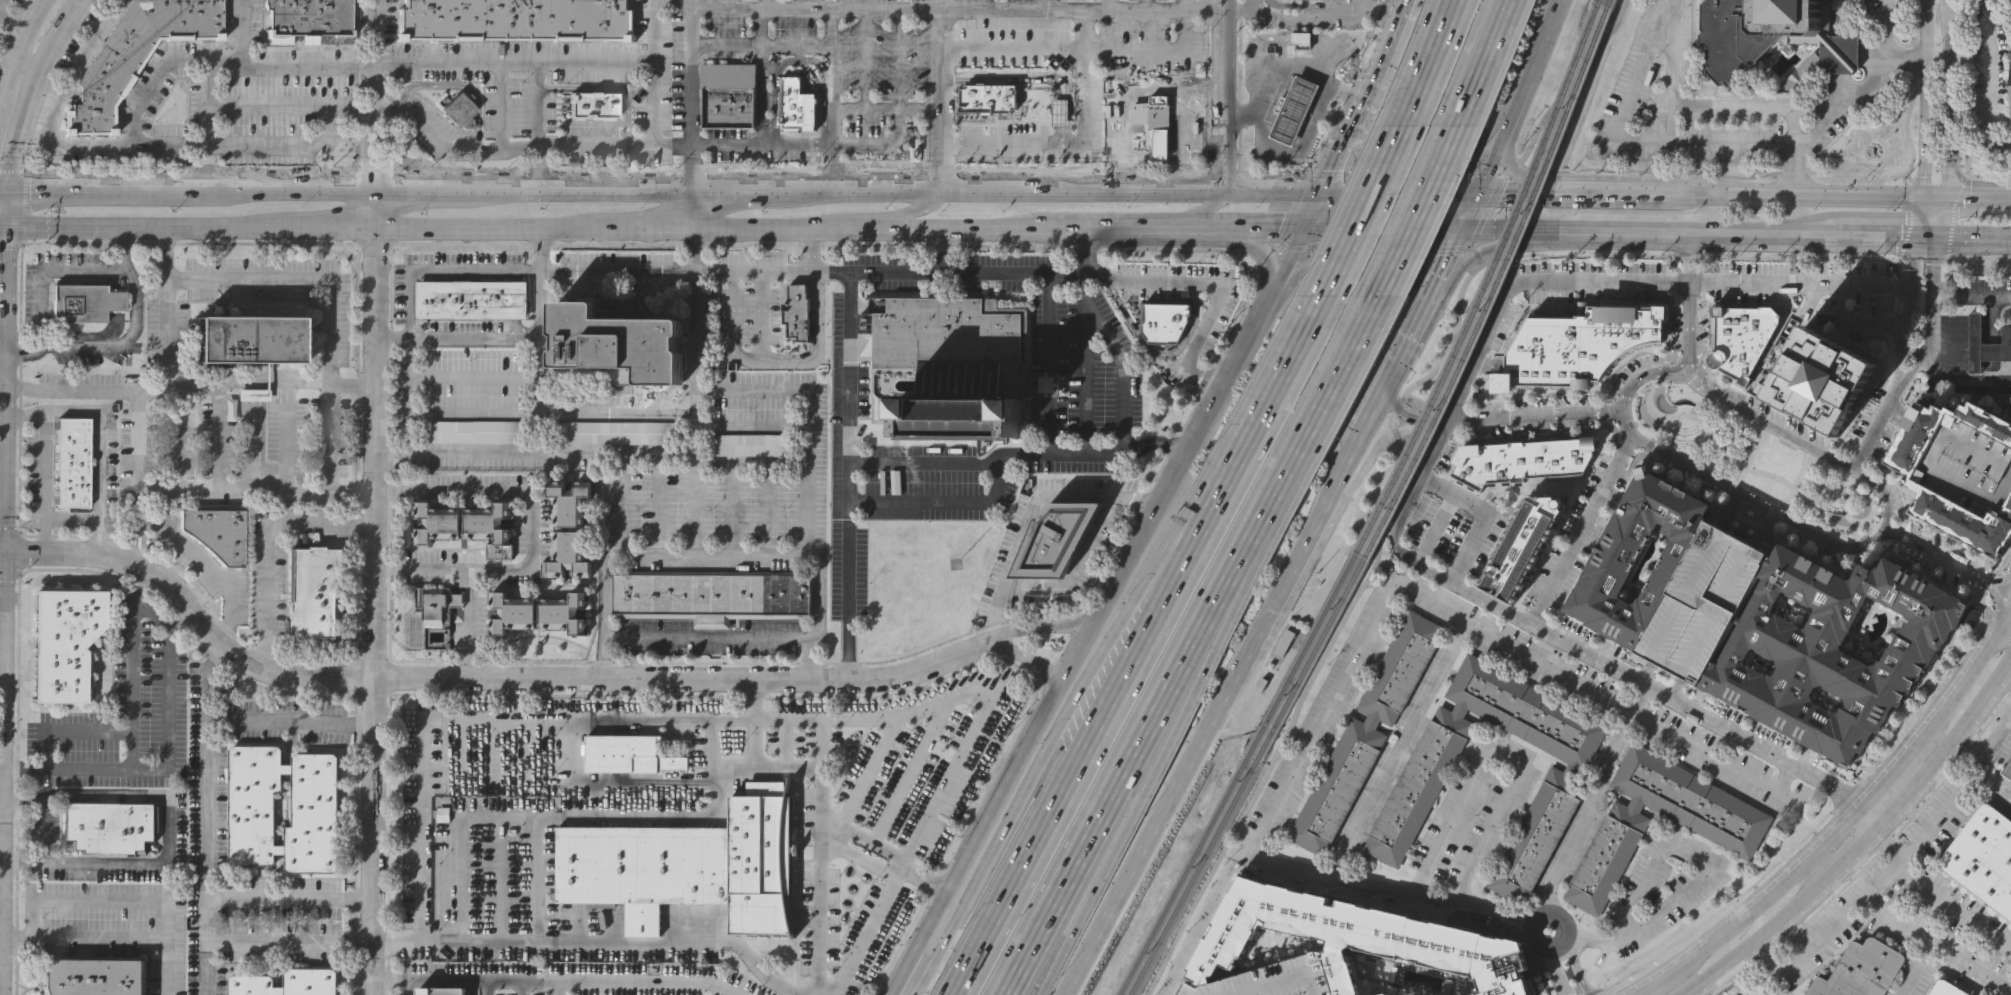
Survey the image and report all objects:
road: (1, 3)
building: (1300, 3)
road: (730, 4)
road: (767, 4)
road: (1255, 4)
road: (1114, 5)
road: (1149, 5)
road: (1451, 7)
road: (1452, 7)
road: (934, 10)
road: (1399, 15)
road: (1308, 17)
building: (304, 19)
building: (516, 19)
building: (1786, 21)
road: (13, 25)
building: (1302, 37)
building: (1728, 39)
road: (1887, 42)
road: (19, 45)
road: (1454, 45)
road: (1011, 46)
road: (763, 47)
road: (1464, 47)
road: (1436, 50)
building: (136, 52)
road: (1484, 52)
building: (1825, 55)
road: (1163, 58)
road: (865, 60)
road: (898, 61)
road: (1277, 61)
road: (445, 65)
road: (1375, 69)
road: (651, 73)
road: (760, 77)
road: (208, 78)
road: (1025, 78)
road: (1988, 80)
road: (153, 87)
road: (1966, 87)
road: (460, 88)
road: (1153, 89)
road: (31, 90)
road: (1201, 91)
road: (1916, 92)
road: (375, 95)
road: (1217, 95)
building: (986, 98)
road: (1922, 99)
road: (833, 100)
road: (1949, 100)
road: (939, 101)
road: (1845, 103)
building: (592, 104)
building: (728, 104)
road: (269, 105)
road: (1727, 105)
road: (368, 106)
building: (796, 107)
building: (459, 109)
road: (540, 109)
building: (1153, 109)
building: (1294, 109)
gas station: (1294, 109)
road: (502, 110)
road: (885, 112)
building: (1049, 115)
building: (607, 116)
road: (1084, 126)
road: (1629, 139)
road: (438, 141)
road: (958, 141)
road: (693, 144)
road: (879, 145)
building: (1158, 145)
road: (616, 146)
road: (129, 149)
road: (1340, 149)
road: (509, 155)
road: (1295, 155)
road: (1423, 163)
road: (1513, 168)
road: (540, 173)
road: (1989, 175)
road: (1731, 176)
road: (1477, 185)
road: (693, 187)
road: (1960, 188)
road: (4, 189)
traffic signals: (32, 189)
road: (96, 189)
road: (278, 189)
road: (415, 190)
traffic signals: (1322, 190)
road: (1398, 190)
road: (576, 191)
road: (1129, 191)
traffic signals: (1475, 191)
road: (739, 192)
road: (1513, 192)
road: (808, 193)
road: (885, 193)
road: (1619, 193)
road: (1804, 198)
traffic signals: (1922, 200)
road: (1933, 200)
traffic signals: (1945, 201)
road: (1978, 201)
road: (1398, 202)
road: (1370, 203)
road: (9, 208)
road: (1202, 208)
road: (1313, 209)
road: (1384, 210)
road: (1415, 210)
road: (876, 212)
road: (1921, 218)
road: (1941, 219)
road: (347, 227)
road: (755, 227)
road: (1059, 227)
road: (1380, 228)
traffic signals: (1457, 228)
road: (1504, 228)
traffic signals: (1304, 229)
road: (1688, 229)
road: (1872, 234)
traffic signals: (1920, 236)
road: (1929, 236)
traffic signals: (1938, 237)
road: (1974, 238)
road: (1298, 240)
road: (1374, 241)
road: (1903, 242)
traffic signals: (8, 249)
road: (126, 250)
road: (813, 250)
road: (1753, 256)
road: (1979, 257)
road: (1897, 259)
road: (1267, 267)
road: (872, 273)
road: (1454, 275)
road: (1048, 280)
road: (322, 281)
railway: (1488, 283)
road: (1712, 283)
railway: (1497, 284)
road: (1218, 287)
road: (1271, 293)
road: (1971, 295)
building: (471, 299)
building: (85, 302)
road: (1906, 306)
road: (38, 311)
building: (796, 312)
road: (1931, 312)
building: (1163, 320)
road: (132, 323)
road: (1851, 325)
road: (458, 335)
road: (412, 338)
building: (1739, 338)
building: (245, 339)
road: (766, 340)
building: (619, 343)
building: (1985, 344)
building: (1576, 348)
building: (959, 349)
road: (776, 353)
road: (1687, 360)
road: (1234, 362)
road: (1084, 365)
road: (1123, 375)
road: (1957, 378)
building: (1823, 379)
road: (1047, 384)
road: (771, 385)
road: (174, 388)
road: (694, 392)
road: (1270, 393)
road: (1638, 394)
building: (252, 395)
road: (1371, 399)
road: (69, 410)
road: (24, 411)
road: (1901, 411)
road: (546, 412)
road: (1686, 415)
road: (1495, 420)
road: (1641, 420)
building: (961, 421)
road: (1879, 423)
road: (1926, 423)
road: (1769, 424)
building: (478, 429)
building: (618, 430)
road: (805, 433)
road: (285, 437)
road: (1302, 438)
building: (754, 443)
road: (459, 451)
road: (1088, 457)
road: (1751, 458)
building: (1521, 460)
building: (73, 462)
road: (948, 463)
parking lot: (1969, 465)
road: (1771, 474)
road: (1359, 475)
road: (848, 476)
road: (1796, 481)
building: (1913, 481)
road: (331, 485)
road: (1539, 486)
road: (1375, 487)
road: (1327, 491)
road: (296, 492)
road: (1883, 492)
road: (191, 493)
road: (1846, 497)
road: (1759, 504)
road: (940, 505)
road: (1033, 510)
road: (1728, 510)
road: (1486, 515)
building: (468, 517)
road: (1836, 526)
road: (1760, 527)
building: (566, 529)
parking lot: (1437, 529)
road: (533, 530)
road: (1581, 530)
road: (1435, 531)
building: (215, 533)
building: (1057, 538)
road: (1855, 538)
road: (267, 545)
building: (1522, 546)
road: (185, 550)
road: (3, 552)
road: (3, 555)
traffic signals: (23, 555)
road: (1938, 556)
road: (797, 560)
road: (1123, 562)
building: (1609, 567)
road: (5, 569)
road: (1074, 582)
traffic signals: (5, 583)
road: (1992, 591)
road: (373, 592)
building: (312, 593)
building: (712, 594)
building: (1700, 603)
parking garage: (1700, 603)
building: (434, 604)
road: (1138, 606)
road: (1270, 607)
road: (1496, 608)
building: (537, 612)
road: (2005, 616)
road: (472, 623)
road: (1464, 624)
road: (1036, 625)
park: (416, 632)
road: (1994, 632)
road: (2000, 641)
building: (62, 642)
building: (1284, 645)
road: (1164, 651)
building: (1829, 652)
road: (1022, 658)
road: (810, 659)
road: (1149, 661)
road: (136, 669)
road: (1643, 672)
road: (1190, 676)
road: (477, 678)
road: (204, 681)
road: (1952, 688)
road: (1675, 689)
road: (959, 697)
road: (674, 721)
road: (755, 722)
road: (72, 732)
road: (1093, 732)
building: (1366, 732)
road: (783, 744)
road: (820, 745)
road: (1969, 748)
road: (1397, 750)
road: (703, 751)
road: (1497, 754)
building: (628, 755)
road: (1985, 758)
road: (169, 760)
road: (1886, 766)
building: (2008, 768)
building: (2008, 774)
railway: (1234, 775)
road: (906, 776)
road: (1122, 777)
railway: (1245, 777)
road: (868, 778)
road: (212, 779)
building: (1422, 780)
road: (659, 783)
building: (868, 793)
road: (1835, 805)
building: (314, 808)
road: (1866, 810)
road: (1585, 811)
road: (1941, 815)
building: (107, 826)
road: (420, 826)
road: (165, 827)
road: (536, 827)
road: (1157, 832)
building: (1734, 841)
road: (460, 843)
road: (1856, 843)
road: (1883, 843)
road: (821, 846)
road: (991, 851)
road: (1874, 855)
building: (1983, 856)
road: (1695, 858)
building: (687, 865)
road: (1789, 865)
road: (958, 866)
road: (1390, 892)
road: (1872, 893)
road: (1090, 894)
road: (291, 897)
road: (1936, 897)
road: (32, 900)
road: (1701, 912)
road: (1531, 920)
road: (1204, 921)
building: (835, 925)
road: (868, 931)
road: (16, 935)
building: (1354, 938)
road: (453, 939)
road: (1595, 939)
road: (291, 944)
road: (1686, 951)
road: (164, 966)
road: (1576, 967)
road: (1917, 967)
building: (1861, 969)
road: (1554, 973)
road: (921, 976)
building: (92, 977)
building: (1272, 980)
parking garage: (1272, 980)
building: (286, 983)
road: (452, 983)
road: (638, 983)
road: (1637, 983)
building: (1947, 988)
building: (446, 991)
parking garage: (446, 991)
building: (1385, 994)
building: (1412, 994)
road: (1678, 994)

